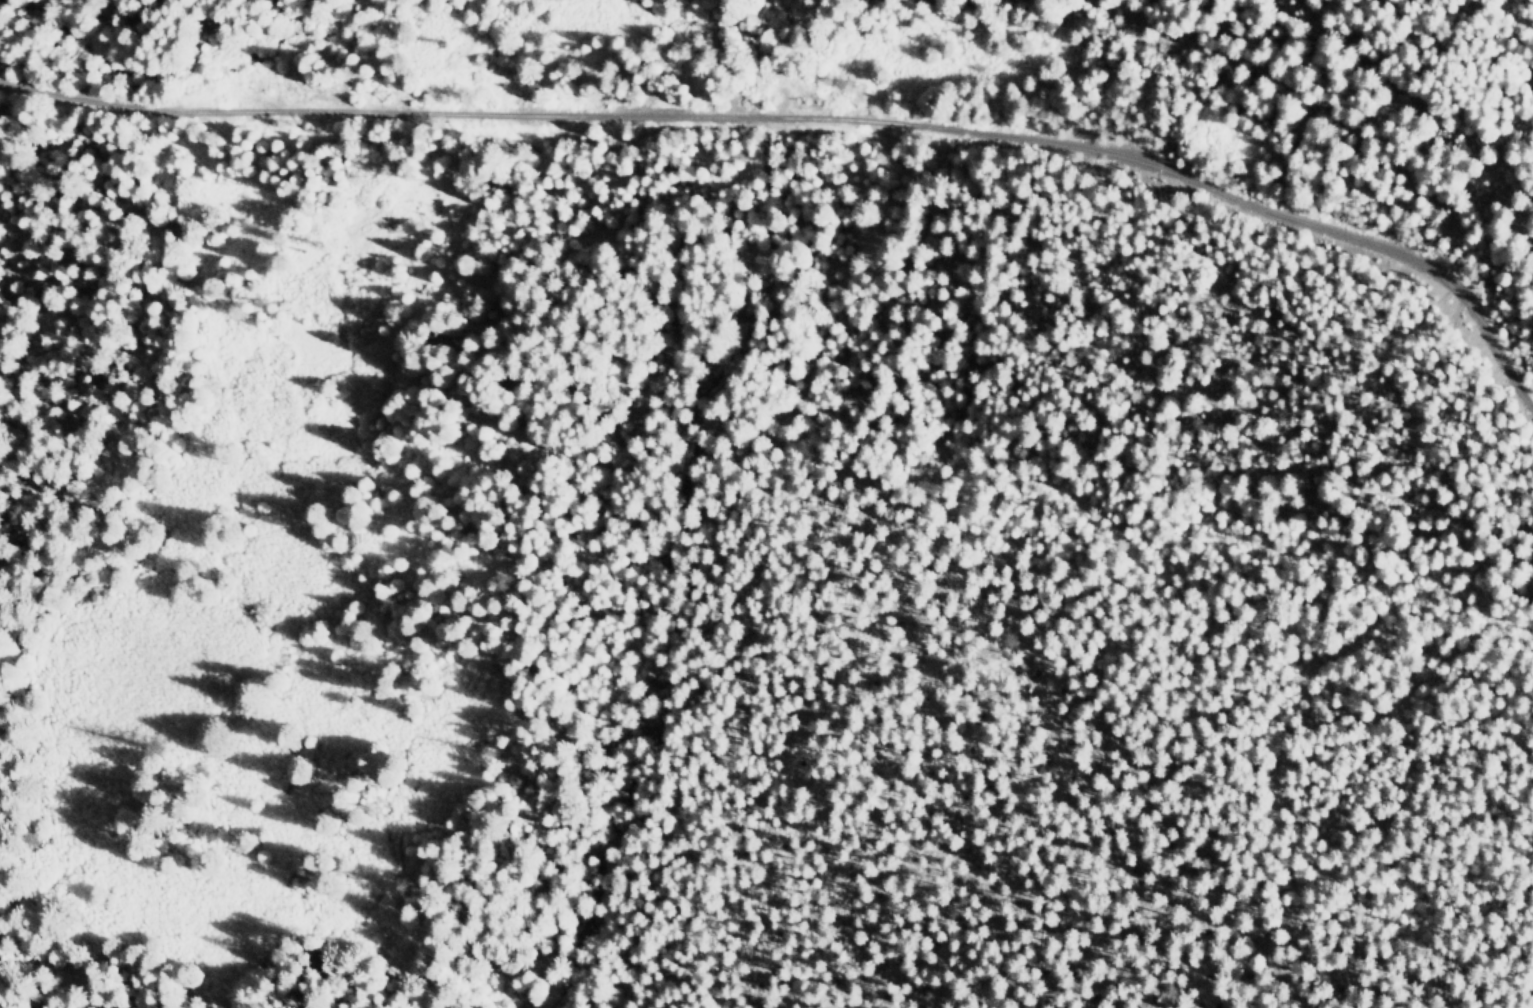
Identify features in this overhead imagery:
road: (796, 109)

